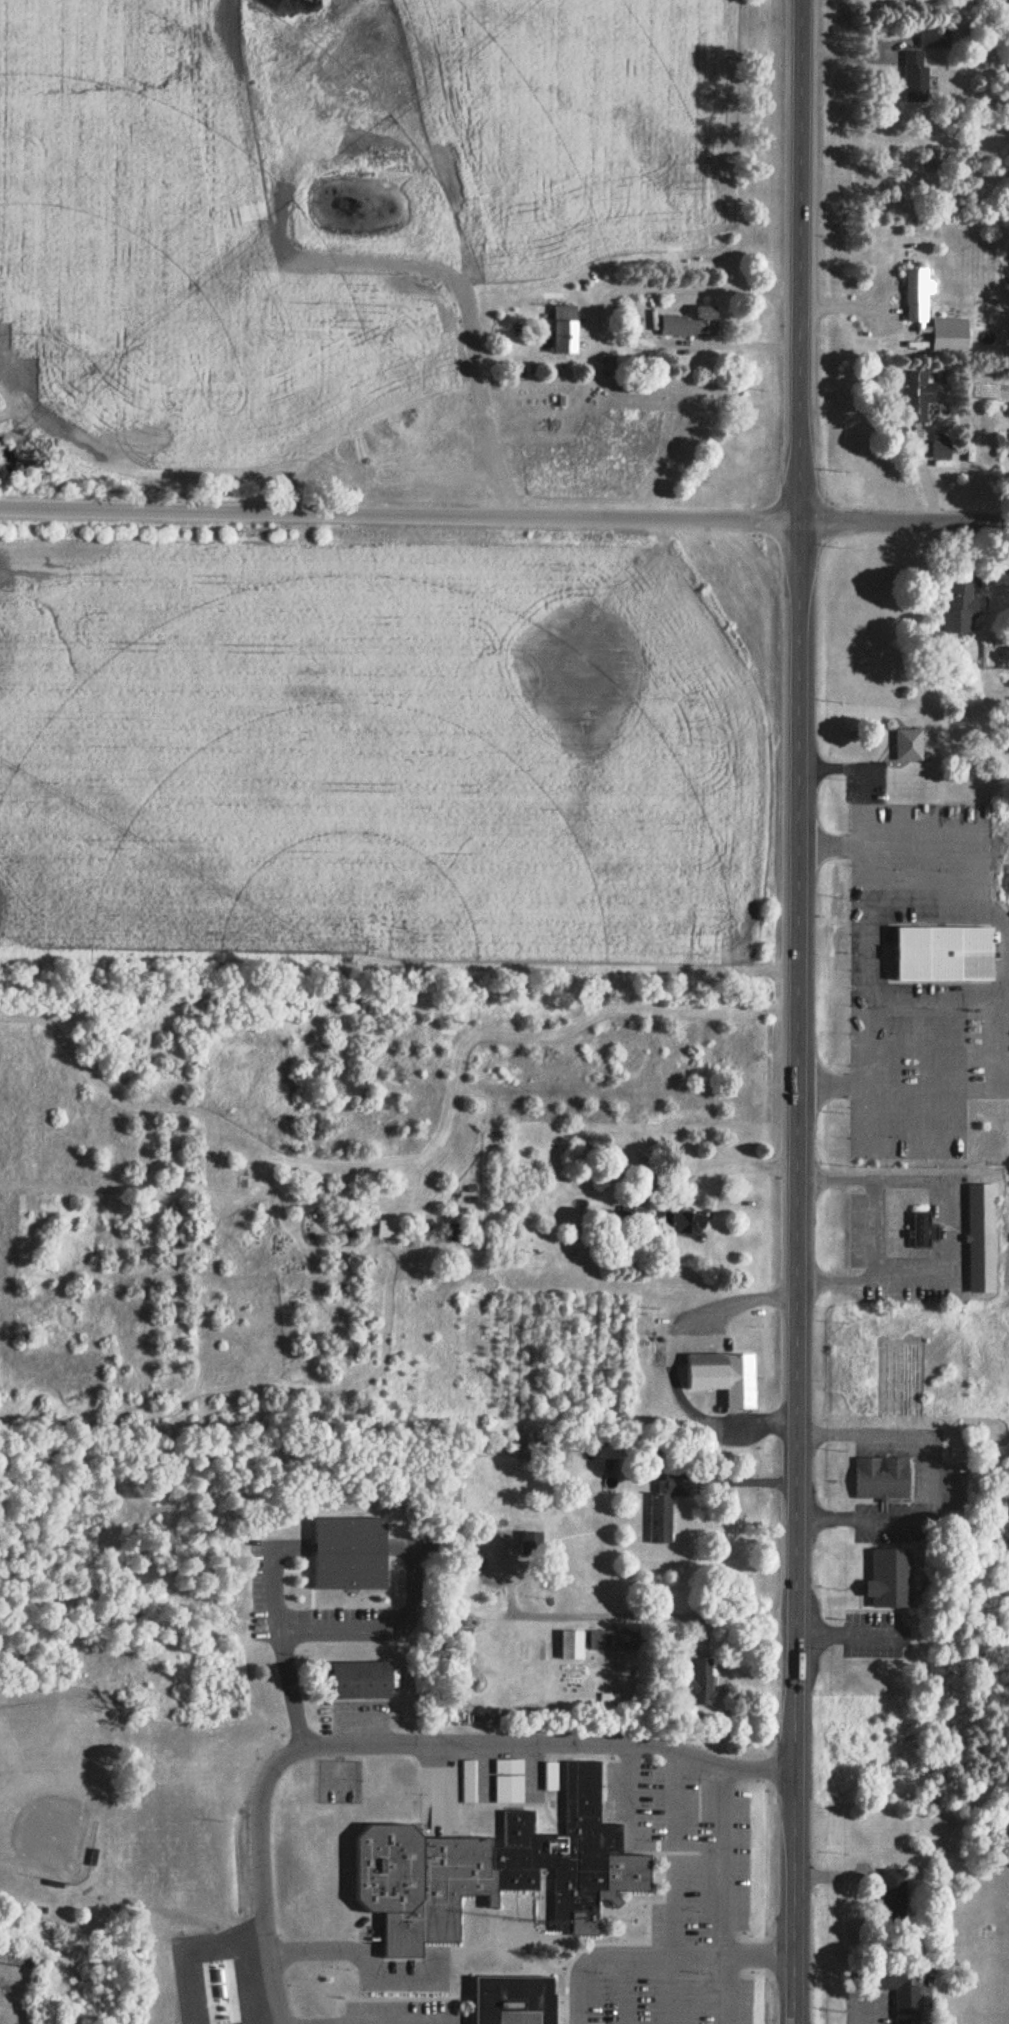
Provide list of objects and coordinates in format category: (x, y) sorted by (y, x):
building: (935, 39)
building: (916, 79)
building: (913, 249)
road: (802, 262)
building: (882, 278)
building: (918, 297)
road: (597, 314)
building: (693, 325)
building: (566, 330)
building: (918, 397)
building: (942, 450)
road: (401, 516)
road: (905, 524)
building: (961, 606)
building: (910, 746)
building: (946, 955)
road: (855, 964)
road: (798, 983)
building: (756, 1103)
road: (739, 1164)
road: (936, 1225)
building: (686, 1226)
building: (388, 1230)
building: (924, 1232)
building: (982, 1240)
road: (666, 1360)
building: (725, 1377)
building: (883, 1479)
building: (666, 1507)
building: (350, 1554)
building: (498, 1558)
building: (891, 1579)
road: (655, 1615)
building: (615, 1642)
building: (572, 1646)
building: (361, 1681)
building: (703, 1682)
road: (794, 1733)
road: (403, 1748)
building: (551, 1777)
building: (468, 1782)
building: (509, 1782)
park: (52, 1786)
building: (497, 1870)
road: (681, 1879)
road: (730, 1892)
building: (895, 1895)
building: (902, 1998)
building: (514, 2001)

